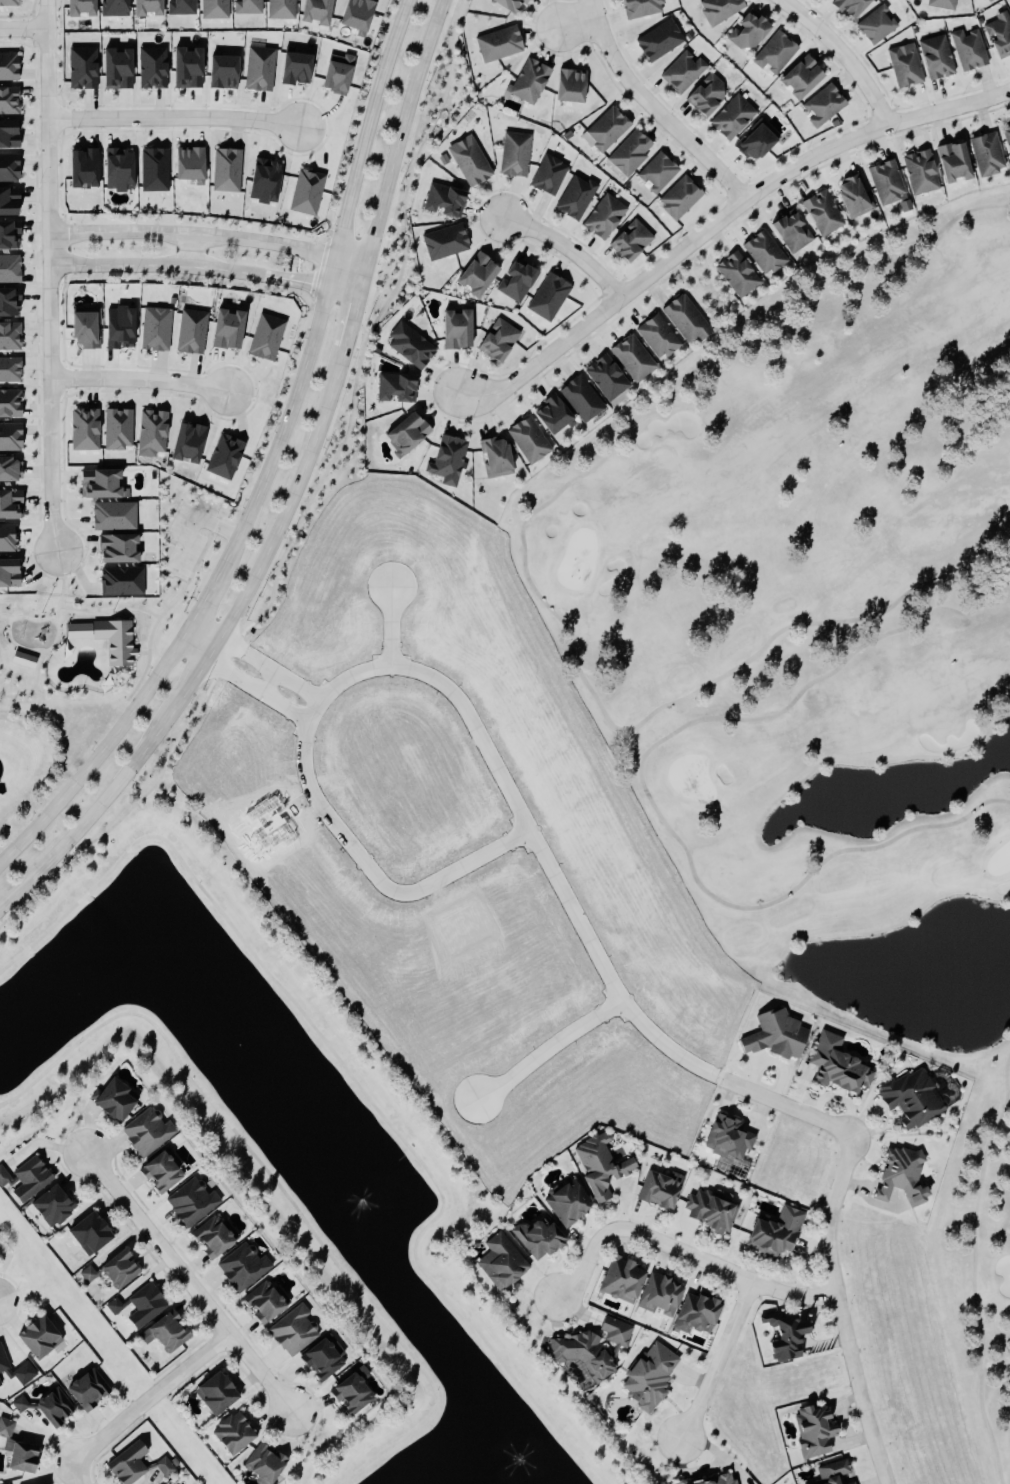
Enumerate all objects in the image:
building: (988, 0)
building: (7, 2)
building: (942, 3)
building: (507, 4)
road: (599, 5)
building: (179, 6)
building: (246, 6)
building: (849, 6)
building: (77, 7)
building: (112, 7)
building: (144, 7)
building: (640, 7)
building: (280, 8)
building: (213, 9)
building: (718, 9)
building: (1009, 9)
building: (313, 11)
building: (355, 14)
road: (578, 16)
building: (876, 24)
road: (26, 27)
building: (747, 30)
building: (998, 33)
building: (658, 39)
building: (498, 43)
building: (967, 48)
building: (774, 52)
road: (845, 55)
building: (935, 56)
building: (904, 64)
building: (7, 65)
building: (81, 67)
building: (150, 67)
building: (184, 67)
building: (294, 67)
building: (114, 68)
building: (259, 68)
building: (220, 70)
building: (681, 71)
building: (335, 72)
building: (799, 76)
building: (529, 80)
building: (568, 84)
building: (704, 94)
building: (9, 99)
building: (822, 104)
road: (661, 109)
road: (168, 114)
building: (731, 116)
road: (367, 126)
building: (606, 127)
building: (8, 133)
building: (1007, 135)
building: (754, 140)
building: (629, 152)
building: (514, 153)
building: (986, 153)
building: (468, 159)
building: (951, 161)
building: (187, 163)
building: (9, 167)
building: (81, 167)
building: (116, 169)
building: (153, 169)
building: (225, 169)
building: (657, 171)
building: (920, 171)
building: (548, 174)
building: (261, 180)
building: (888, 183)
building: (307, 192)
building: (574, 196)
building: (852, 196)
building: (679, 197)
building: (443, 199)
building: (9, 200)
road: (725, 207)
building: (822, 212)
building: (603, 216)
road: (195, 229)
building: (791, 231)
building: (9, 234)
building: (628, 240)
building: (444, 241)
road: (560, 249)
building: (764, 251)
road: (191, 264)
road: (350, 266)
building: (9, 268)
road: (332, 271)
building: (474, 273)
building: (737, 273)
road: (54, 275)
building: (514, 280)
road: (346, 282)
building: (548, 296)
building: (9, 301)
building: (685, 317)
building: (82, 327)
building: (117, 327)
building: (154, 328)
building: (224, 328)
building: (454, 328)
building: (190, 331)
building: (9, 335)
building: (657, 335)
building: (264, 336)
building: (496, 340)
building: (409, 345)
building: (632, 357)
building: (9, 369)
building: (605, 376)
road: (132, 381)
building: (395, 387)
building: (580, 397)
building: (10, 403)
building: (550, 413)
building: (82, 428)
building: (117, 429)
building: (150, 432)
building: (405, 432)
building: (10, 436)
building: (527, 439)
building: (185, 442)
building: (223, 456)
building: (493, 456)
building: (446, 459)
building: (10, 469)
building: (101, 483)
road: (293, 490)
building: (126, 492)
building: (10, 504)
building: (112, 515)
building: (7, 537)
building: (114, 548)
road: (524, 565)
building: (9, 573)
building: (120, 580)
road: (205, 598)
park: (106, 613)
road: (392, 628)
building: (105, 638)
road: (199, 642)
building: (23, 659)
park: (823, 680)
road: (262, 682)
road: (647, 792)
road: (321, 811)
road: (461, 870)
fountain: (77, 985)
building: (774, 1035)
fountain: (235, 1042)
road: (662, 1044)
road: (549, 1050)
road: (776, 1062)
building: (836, 1066)
road: (350, 1074)
building: (911, 1098)
building: (123, 1100)
building: (152, 1132)
building: (726, 1138)
building: (598, 1166)
building: (166, 1172)
building: (900, 1175)
building: (29, 1178)
road: (279, 1189)
building: (659, 1189)
fountain: (348, 1193)
building: (196, 1202)
building: (565, 1202)
building: (58, 1205)
building: (709, 1210)
building: (773, 1231)
building: (97, 1234)
building: (536, 1236)
building: (219, 1238)
road: (679, 1250)
building: (498, 1261)
building: (248, 1267)
building: (126, 1269)
road: (973, 1270)
building: (91, 1274)
building: (620, 1279)
road: (187, 1289)
building: (658, 1295)
building: (270, 1303)
building: (150, 1305)
building: (118, 1306)
building: (694, 1314)
building: (299, 1331)
building: (170, 1333)
building: (784, 1334)
building: (39, 1337)
building: (592, 1347)
building: (330, 1359)
road: (719, 1361)
building: (4, 1364)
building: (28, 1373)
building: (370, 1373)
building: (649, 1375)
building: (94, 1390)
building: (223, 1394)
building: (359, 1394)
road: (146, 1401)
building: (54, 1407)
building: (813, 1431)
building: (240, 1433)
fountain: (504, 1435)
building: (22, 1457)
building: (134, 1464)
building: (269, 1465)
building: (168, 1466)
building: (832, 1472)
road: (73, 1475)
building: (717, 1480)
building: (679, 1482)
building: (11, 1483)
building: (849, 1483)

